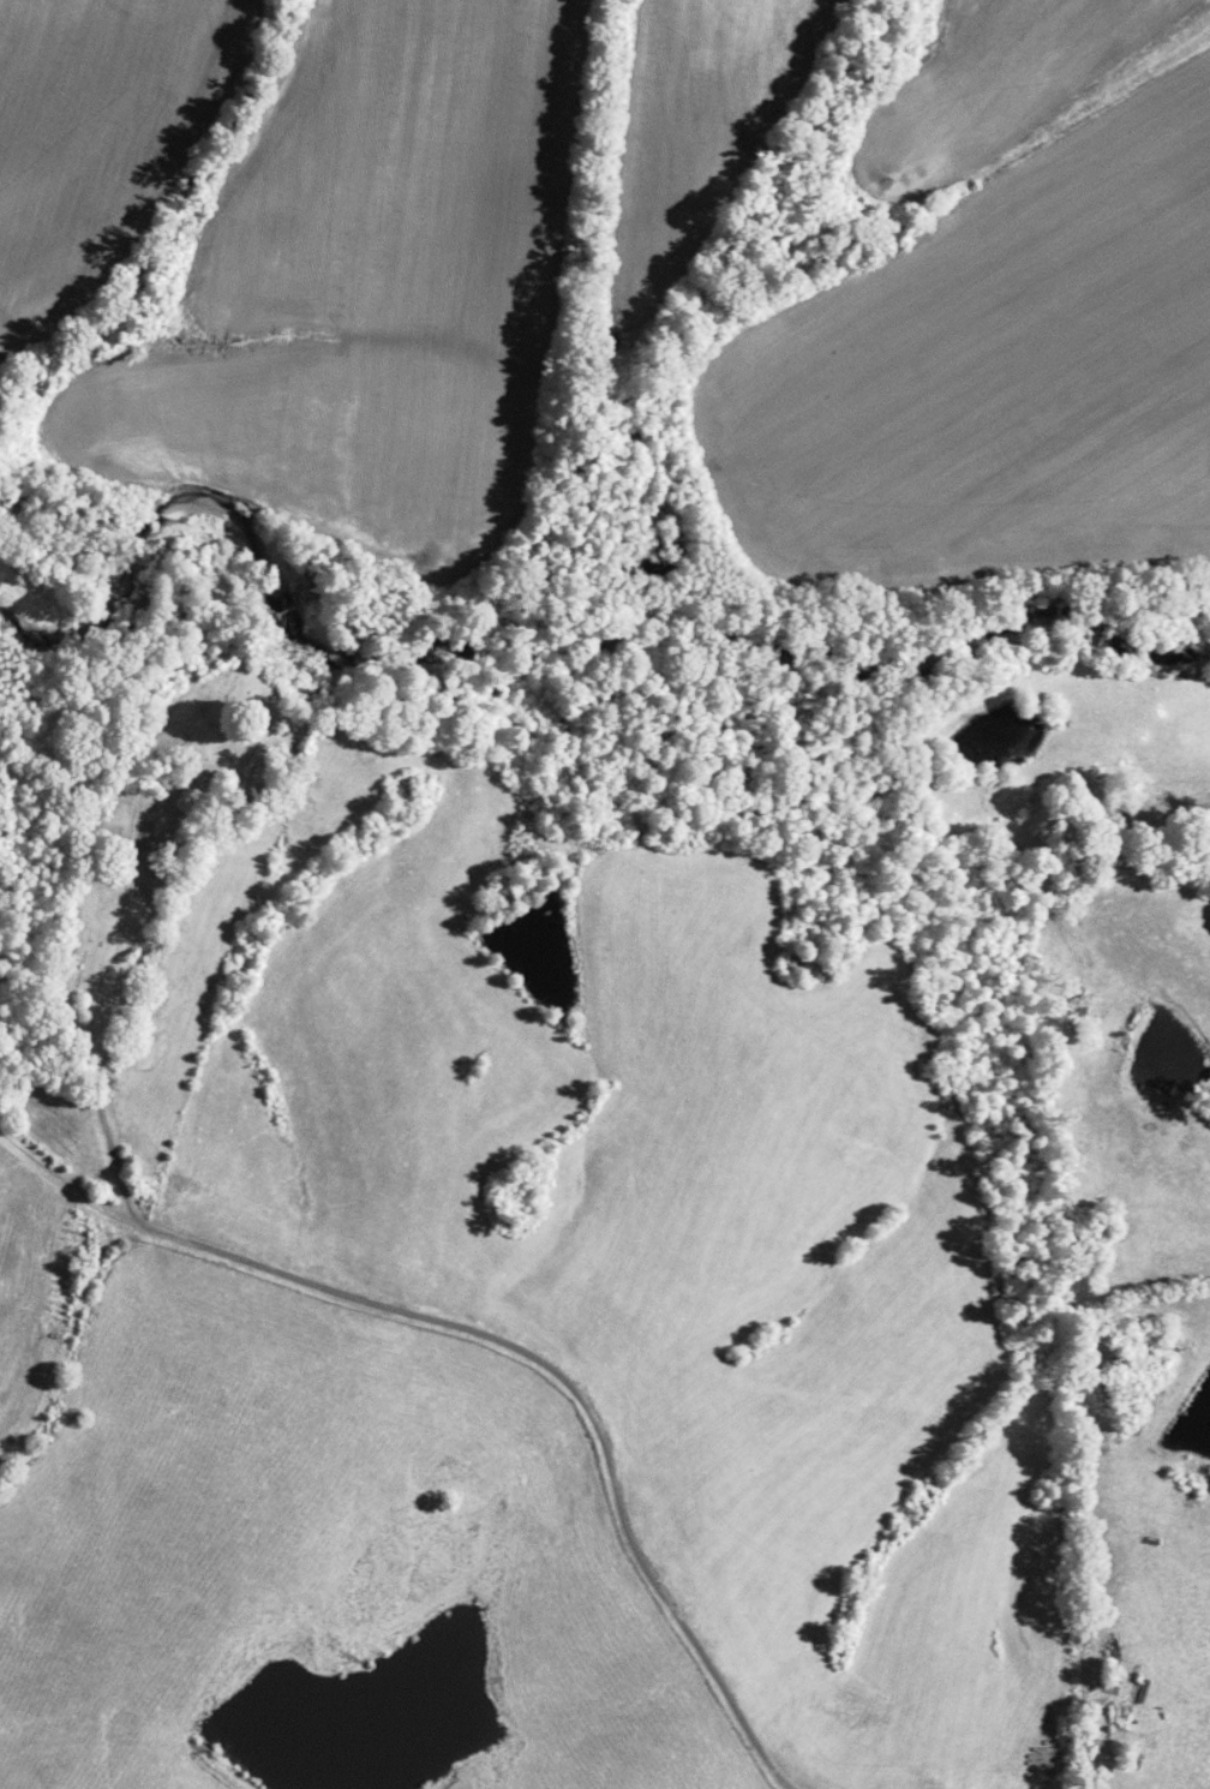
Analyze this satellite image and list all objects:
road: (484, 1389)
building: (1090, 1688)

